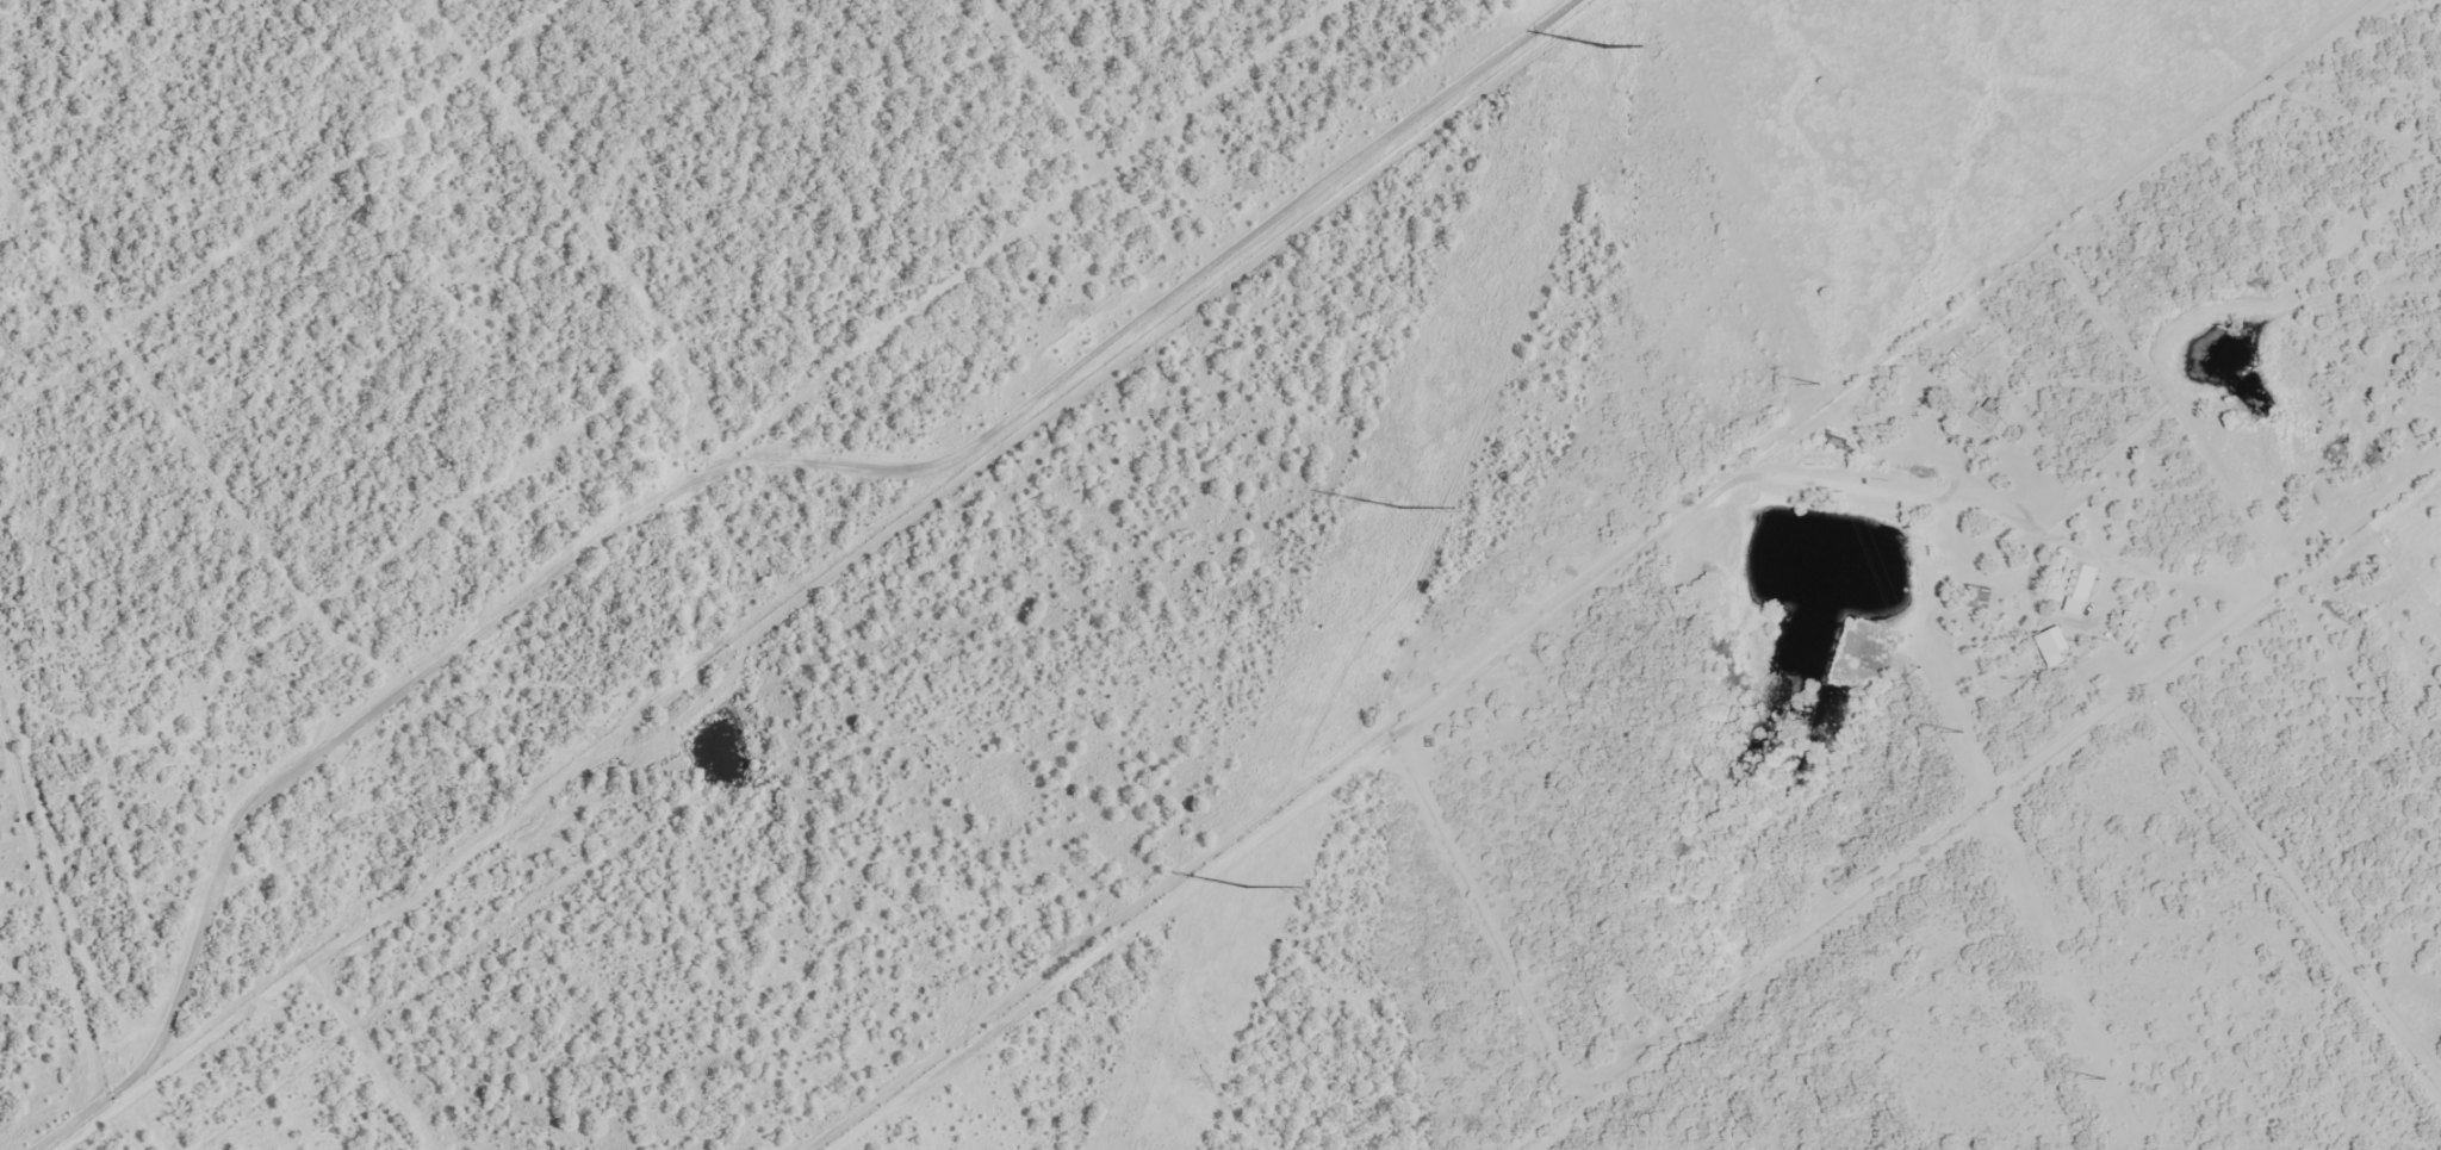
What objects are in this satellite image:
power tower: (1602, 46)
power tower: (1819, 384)
power tower: (1399, 508)
building: (2079, 586)
road: (1535, 595)
building: (1981, 598)
building: (2055, 646)
power tower: (1961, 732)
power tower: (1246, 887)
power tower: (2103, 1080)

